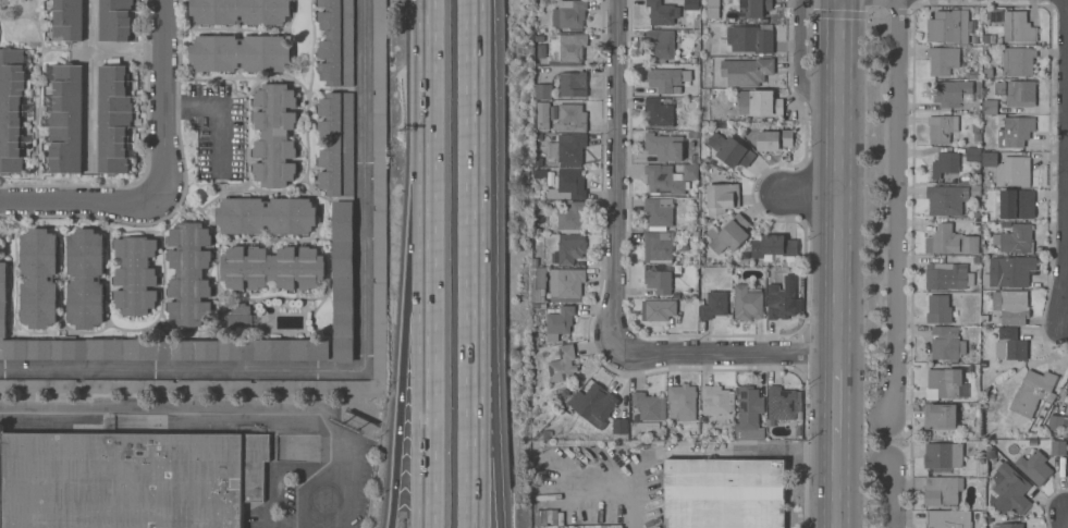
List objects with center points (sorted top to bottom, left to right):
building: (691, 4)
building: (752, 8)
building: (240, 11)
building: (662, 12)
building: (569, 14)
building: (69, 20)
building: (115, 20)
building: (948, 26)
building: (1018, 27)
building: (748, 38)
road: (430, 40)
building: (336, 41)
building: (660, 45)
building: (566, 48)
building: (241, 52)
building: (380, 56)
road: (120, 57)
building: (944, 59)
building: (1018, 61)
road: (799, 62)
building: (747, 71)
building: (663, 78)
building: (573, 83)
building: (999, 87)
building: (543, 90)
building: (677, 90)
building: (950, 91)
building: (1020, 94)
road: (94, 100)
road: (168, 101)
building: (759, 102)
building: (991, 106)
building: (12, 109)
building: (661, 111)
building: (542, 114)
road: (221, 118)
building: (570, 118)
building: (66, 119)
building: (114, 119)
building: (942, 127)
building: (1016, 131)
building: (274, 134)
building: (772, 139)
building: (336, 143)
building: (664, 146)
building: (572, 148)
building: (731, 150)
building: (552, 151)
building: (973, 154)
building: (990, 158)
building: (380, 160)
building: (945, 163)
building: (1014, 170)
road: (617, 174)
road: (839, 177)
building: (668, 179)
building: (570, 183)
road: (364, 186)
road: (808, 192)
building: (722, 197)
building: (945, 199)
road: (84, 201)
building: (1017, 204)
road: (898, 208)
building: (659, 211)
building: (570, 214)
building: (267, 216)
building: (729, 234)
building: (1017, 238)
building: (950, 241)
building: (380, 245)
building: (659, 246)
building: (774, 246)
building: (570, 250)
road: (476, 263)
road: (493, 263)
building: (272, 267)
building: (1009, 271)
building: (189, 273)
building: (136, 274)
building: (946, 275)
building: (38, 278)
building: (86, 278)
building: (658, 279)
building: (343, 280)
building: (540, 283)
building: (566, 284)
building: (748, 302)
building: (781, 302)
road: (409, 304)
building: (714, 304)
road: (431, 305)
building: (1011, 306)
building: (938, 308)
building: (660, 309)
road: (1067, 314)
building: (558, 321)
building: (380, 331)
building: (1011, 342)
building: (945, 343)
building: (155, 345)
road: (728, 355)
building: (563, 364)
road: (180, 370)
building: (946, 384)
building: (565, 393)
building: (1034, 396)
building: (715, 398)
road: (839, 398)
building: (682, 401)
building: (782, 403)
building: (593, 404)
building: (649, 405)
building: (749, 414)
building: (940, 415)
road: (222, 417)
building: (1057, 421)
building: (621, 426)
road: (702, 446)
building: (1058, 447)
building: (943, 455)
building: (1035, 467)
building: (1067, 471)
road: (272, 475)
building: (131, 479)
road: (308, 482)
road: (839, 484)
building: (942, 490)
building: (1010, 490)
building: (724, 493)
road: (893, 496)
building: (947, 518)
building: (1008, 525)

